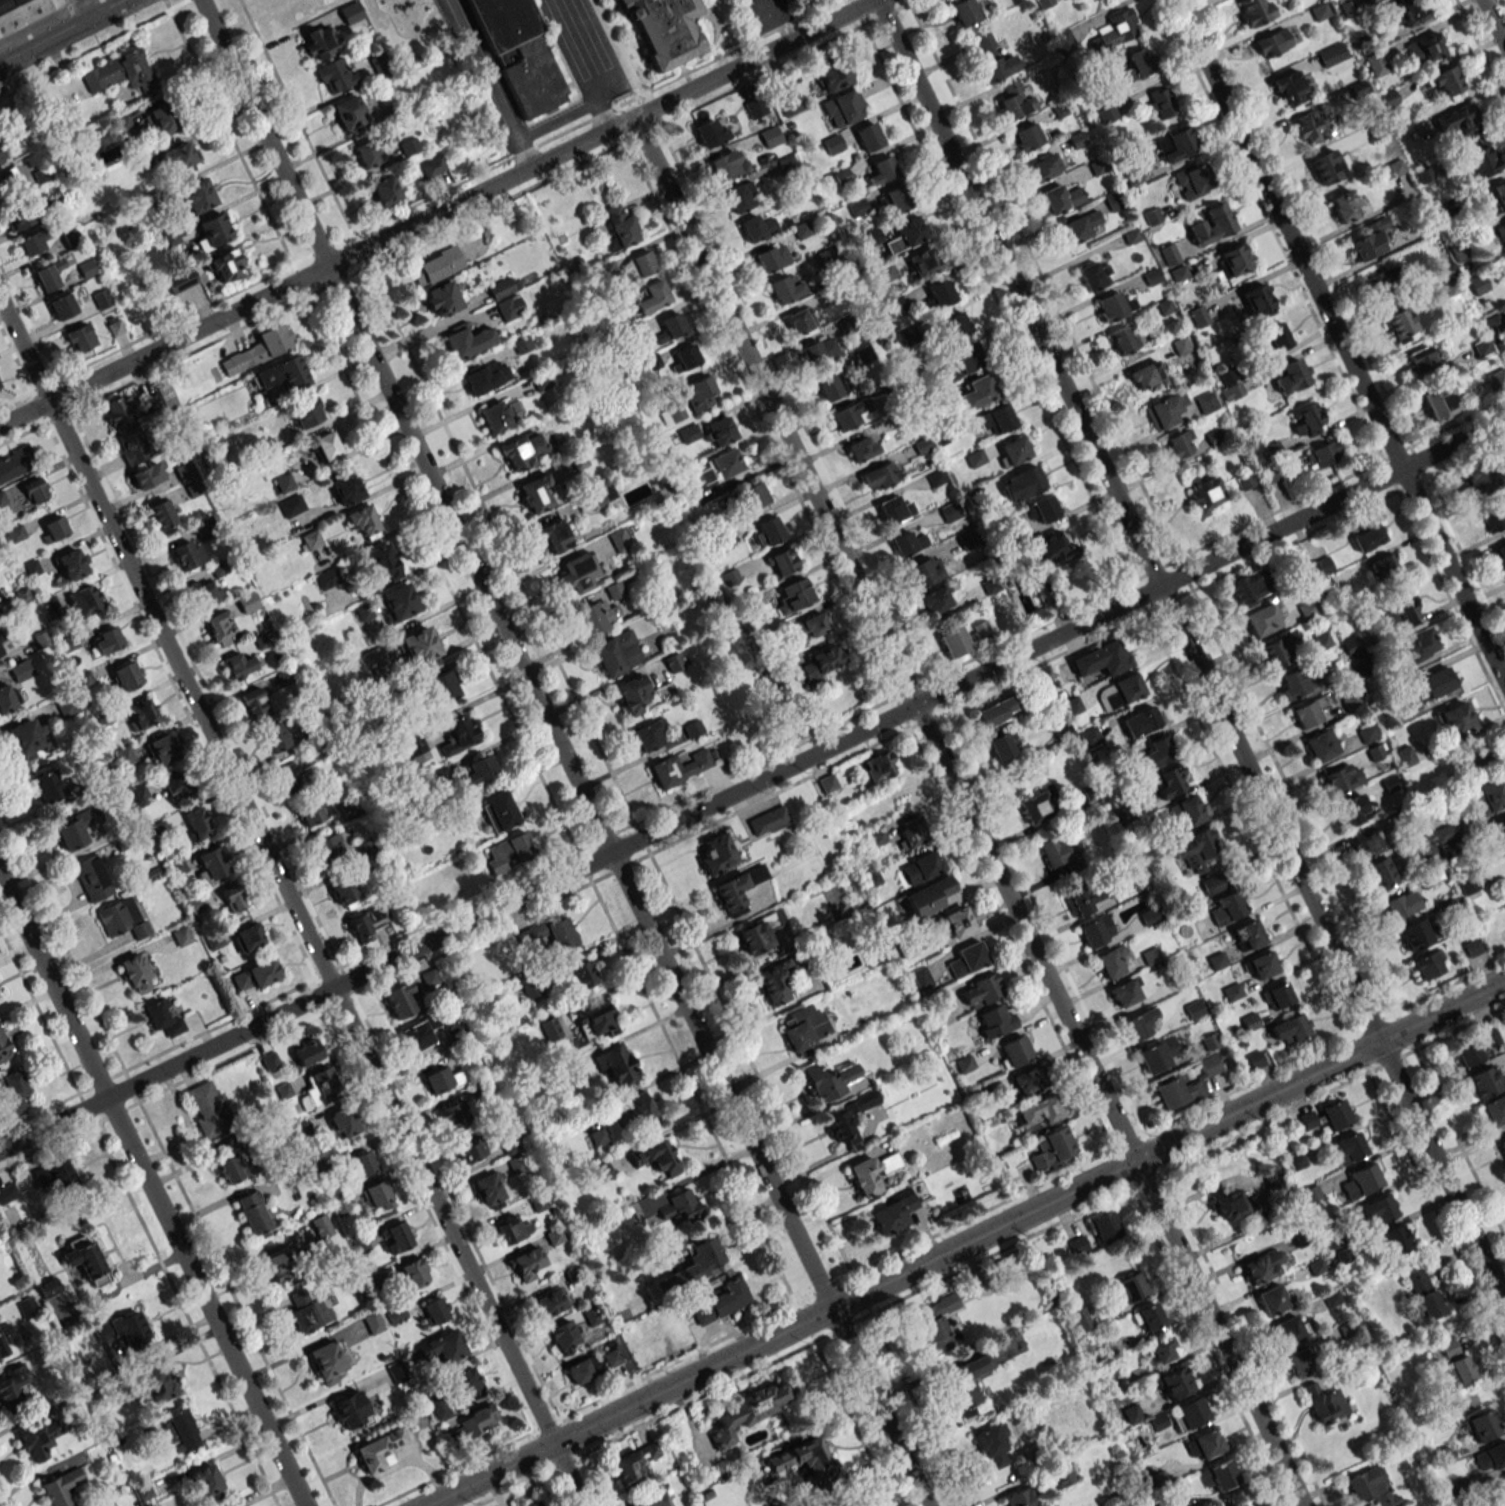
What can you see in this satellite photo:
building: (1095, 0)
building: (793, 1)
building: (1044, 3)
building: (12, 5)
road: (84, 7)
building: (1254, 11)
building: (1319, 11)
building: (350, 12)
building: (965, 12)
building: (1407, 12)
road: (1493, 23)
road: (57, 29)
building: (665, 29)
building: (1116, 30)
building: (318, 42)
building: (1274, 42)
road: (602, 43)
building: (1425, 48)
building: (518, 53)
building: (1330, 55)
road: (748, 58)
building: (992, 58)
parking lot: (536, 60)
building: (1137, 64)
building: (379, 65)
building: (1375, 65)
building: (120, 72)
building: (831, 73)
building: (336, 74)
building: (1446, 82)
road: (490, 83)
building: (1290, 88)
road: (608, 94)
building: (1388, 98)
building: (788, 101)
building: (1014, 101)
building: (1161, 103)
building: (755, 108)
building: (843, 108)
building: (348, 113)
road: (569, 114)
building: (161, 120)
building: (1457, 121)
building: (1310, 126)
building: (710, 132)
building: (770, 136)
building: (868, 136)
building: (1028, 136)
building: (833, 144)
building: (1175, 144)
building: (409, 146)
building: (371, 151)
building: (1, 156)
building: (179, 156)
building: (1479, 162)
building: (433, 166)
building: (725, 166)
building: (1326, 166)
building: (1044, 167)
building: (882, 170)
building: (1192, 181)
building: (9, 182)
building: (385, 190)
building: (198, 195)
building: (741, 197)
building: (1061, 198)
building: (1497, 198)
building: (896, 199)
building: (1343, 206)
building: (19, 218)
building: (1211, 224)
building: (619, 227)
building: (756, 227)
building: (1080, 227)
building: (212, 230)
building: (905, 234)
building: (1501, 234)
building: (1368, 240)
building: (33, 242)
building: (1168, 254)
building: (824, 256)
building: (772, 257)
building: (1234, 259)
building: (923, 262)
building: (226, 265)
building: (639, 265)
building: (437, 266)
building: (87, 268)
road: (316, 271)
building: (884, 272)
building: (50, 274)
building: (1179, 274)
building: (1094, 276)
building: (181, 281)
building: (1383, 281)
building: (1474, 285)
building: (503, 287)
building: (785, 289)
building: (940, 293)
building: (652, 296)
building: (101, 299)
building: (442, 299)
building: (1256, 299)
building: (65, 305)
building: (895, 305)
building: (1114, 306)
building: (510, 307)
building: (1198, 316)
building: (799, 320)
building: (1401, 324)
building: (954, 325)
building: (670, 327)
road: (417, 336)
building: (80, 338)
building: (1274, 338)
building: (1124, 340)
building: (462, 342)
road: (1340, 342)
building: (1181, 345)
building: (1482, 347)
building: (259, 349)
building: (819, 350)
building: (686, 356)
building: (1421, 360)
building: (961, 362)
building: (281, 373)
building: (1145, 375)
building: (1226, 375)
building: (486, 376)
building: (1290, 376)
building: (1497, 380)
building: (541, 382)
building: (830, 386)
building: (977, 392)
building: (698, 393)
building: (1439, 402)
building: (1205, 403)
building: (1165, 410)
building: (117, 412)
building: (307, 412)
building: (671, 414)
building: (847, 416)
building: (497, 417)
building: (1306, 418)
building: (996, 419)
building: (720, 431)
building: (688, 433)
building: (1179, 444)
building: (132, 445)
building: (327, 446)
building: (862, 448)
building: (521, 451)
building: (1013, 451)
building: (1323, 454)
building: (16, 463)
building: (722, 465)
building: (146, 475)
building: (879, 476)
building: (1477, 477)
building: (1248, 480)
building: (286, 482)
building: (1022, 484)
building: (346, 488)
building: (35, 491)
building: (1206, 493)
building: (537, 494)
building: (600, 495)
building: (754, 495)
building: (2, 499)
building: (291, 505)
building: (891, 510)
building: (1042, 510)
building: (162, 516)
building: (1493, 516)
road: (1126, 521)
building: (54, 531)
building: (768, 531)
building: (1368, 534)
building: (554, 536)
building: (311, 539)
building: (620, 540)
building: (906, 543)
building: (1053, 547)
building: (187, 554)
building: (1500, 555)
building: (384, 562)
building: (782, 562)
building: (73, 563)
building: (1319, 567)
building: (1384, 569)
building: (923, 572)
building: (578, 573)
building: (327, 578)
building: (1250, 588)
building: (615, 590)
building: (204, 593)
building: (794, 595)
building: (936, 599)
building: (86, 600)
building: (398, 602)
building: (247, 603)
building: (1399, 608)
building: (363, 612)
building: (598, 616)
building: (1259, 621)
building: (812, 625)
building: (217, 628)
building: (963, 638)
building: (108, 640)
building: (1417, 644)
building: (420, 646)
building: (1276, 650)
building: (1, 651)
building: (617, 653)
building: (1101, 659)
building: (821, 661)
building: (238, 665)
building: (21, 670)
building: (127, 675)
building: (1295, 682)
building: (1437, 682)
building: (443, 686)
building: (1119, 692)
building: (633, 694)
building: (7, 698)
building: (255, 704)
traffic signals: (916, 705)
building: (1072, 705)
building: (1309, 711)
building: (998, 713)
building: (140, 714)
building: (1454, 720)
building: (1140, 721)
building: (458, 733)
building: (649, 734)
building: (27, 736)
building: (275, 736)
building: (1321, 745)
building: (1001, 747)
building: (162, 749)
road: (563, 752)
building: (1158, 752)
building: (1404, 756)
building: (877, 767)
building: (679, 768)
building: (478, 769)
building: (291, 777)
building: (1342, 778)
building: (1169, 781)
building: (176, 783)
road: (752, 783)
building: (828, 783)
building: (48, 787)
building: (140, 795)
building: (1488, 796)
building: (1036, 807)
building: (1352, 809)
building: (499, 811)
road: (967, 811)
building: (1185, 812)
building: (310, 814)
building: (767, 820)
building: (197, 822)
building: (911, 831)
building: (1500, 831)
building: (1445, 832)
building: (70, 836)
building: (1365, 842)
building: (329, 848)
building: (1195, 849)
building: (1058, 851)
building: (509, 852)
building: (718, 852)
building: (214, 864)
building: (177, 866)
building: (921, 867)
building: (1379, 873)
building: (93, 879)
building: (1213, 884)
building: (1468, 885)
building: (736, 889)
building: (345, 892)
building: (928, 897)
building: (233, 898)
building: (1084, 898)
road: (292, 903)
building: (1401, 904)
building: (1228, 907)
building: (112, 919)
building: (364, 922)
building: (954, 923)
building: (1096, 930)
building: (759, 931)
building: (1416, 933)
building: (550, 934)
building: (1248, 935)
building: (181, 936)
building: (248, 937)
building: (1472, 947)
building: (1150, 956)
building: (967, 959)
road: (111, 962)
building: (1110, 962)
building: (1262, 965)
building: (1429, 965)
building: (135, 975)
building: (255, 975)
building: (579, 975)
building: (430, 977)
building: (777, 979)
building: (922, 979)
building: (530, 985)
building: (980, 991)
building: (1126, 992)
building: (1232, 992)
building: (1276, 997)
building: (399, 999)
building: (1194, 1009)
building: (164, 1019)
building: (593, 1020)
building: (1249, 1021)
building: (995, 1022)
building: (1139, 1024)
building: (803, 1028)
building: (550, 1029)
building: (1290, 1029)
road: (1404, 1029)
building: (418, 1034)
building: (4, 1049)
building: (1476, 1049)
building: (307, 1051)
building: (1014, 1051)
building: (1157, 1054)
building: (269, 1060)
building: (1255, 1061)
building: (615, 1065)
building: (1209, 1065)
building: (442, 1079)
building: (829, 1079)
building: (1025, 1081)
building: (1486, 1081)
building: (317, 1089)
building: (13, 1092)
building: (1178, 1092)
building: (208, 1109)
building: (1494, 1109)
building: (642, 1111)
building: (1039, 1111)
building: (1335, 1115)
building: (452, 1116)
building: (847, 1118)
building: (342, 1122)
building: (302, 1129)
building: (1502, 1146)
building: (1348, 1148)
building: (470, 1149)
building: (1054, 1150)
building: (655, 1157)
building: (361, 1165)
building: (233, 1168)
building: (600, 1172)
building: (870, 1173)
road: (1442, 1173)
building: (59, 1174)
building: (1360, 1181)
building: (489, 1188)
road: (152, 1191)
building: (8, 1193)
building: (376, 1195)
building: (1231, 1203)
building: (339, 1204)
building: (676, 1205)
building: (1378, 1209)
building: (252, 1212)
building: (892, 1214)
building: (321, 1226)
building: (1104, 1227)
building: (512, 1229)
building: (395, 1237)
building: (1396, 1239)
building: (1078, 1245)
building: (86, 1259)
building: (527, 1263)
building: (279, 1265)
building: (1263, 1266)
building: (1316, 1267)
building: (688, 1268)
building: (414, 1272)
building: (48, 1287)
building: (1131, 1288)
road: (865, 1291)
building: (1423, 1293)
building: (1275, 1299)
building: (549, 1303)
building: (720, 1304)
building: (434, 1311)
building: (302, 1312)
building: (396, 1314)
building: (591, 1315)
building: (1150, 1317)
building: (1080, 1319)
building: (372, 1321)
building: (937, 1322)
building: (122, 1328)
building: (1290, 1330)
building: (562, 1336)
building: (8, 1339)
building: (442, 1347)
building: (1162, 1350)
building: (612, 1358)
building: (327, 1362)
building: (1298, 1363)
building: (584, 1370)
building: (1459, 1370)
building: (966, 1382)
building: (158, 1383)
building: (466, 1383)
building: (1174, 1383)
building: (12, 1385)
building: (1324, 1403)
building: (350, 1407)
building: (750, 1409)
building: (1131, 1413)
building: (1189, 1414)
building: (1158, 1421)
building: (474, 1422)
building: (1483, 1425)
building: (183, 1430)
building: (33, 1440)
building: (1203, 1445)
building: (992, 1447)
building: (379, 1449)
building: (801, 1457)
building: (633, 1463)
building: (1062, 1474)
building: (1219, 1475)
building: (1503, 1481)
building: (206, 1482)
building: (1371, 1486)
building: (61, 1487)
building: (142, 1492)
building: (1019, 1498)
building: (650, 1500)
building: (532, 1503)
building: (109, 1504)
building: (1239, 1504)

